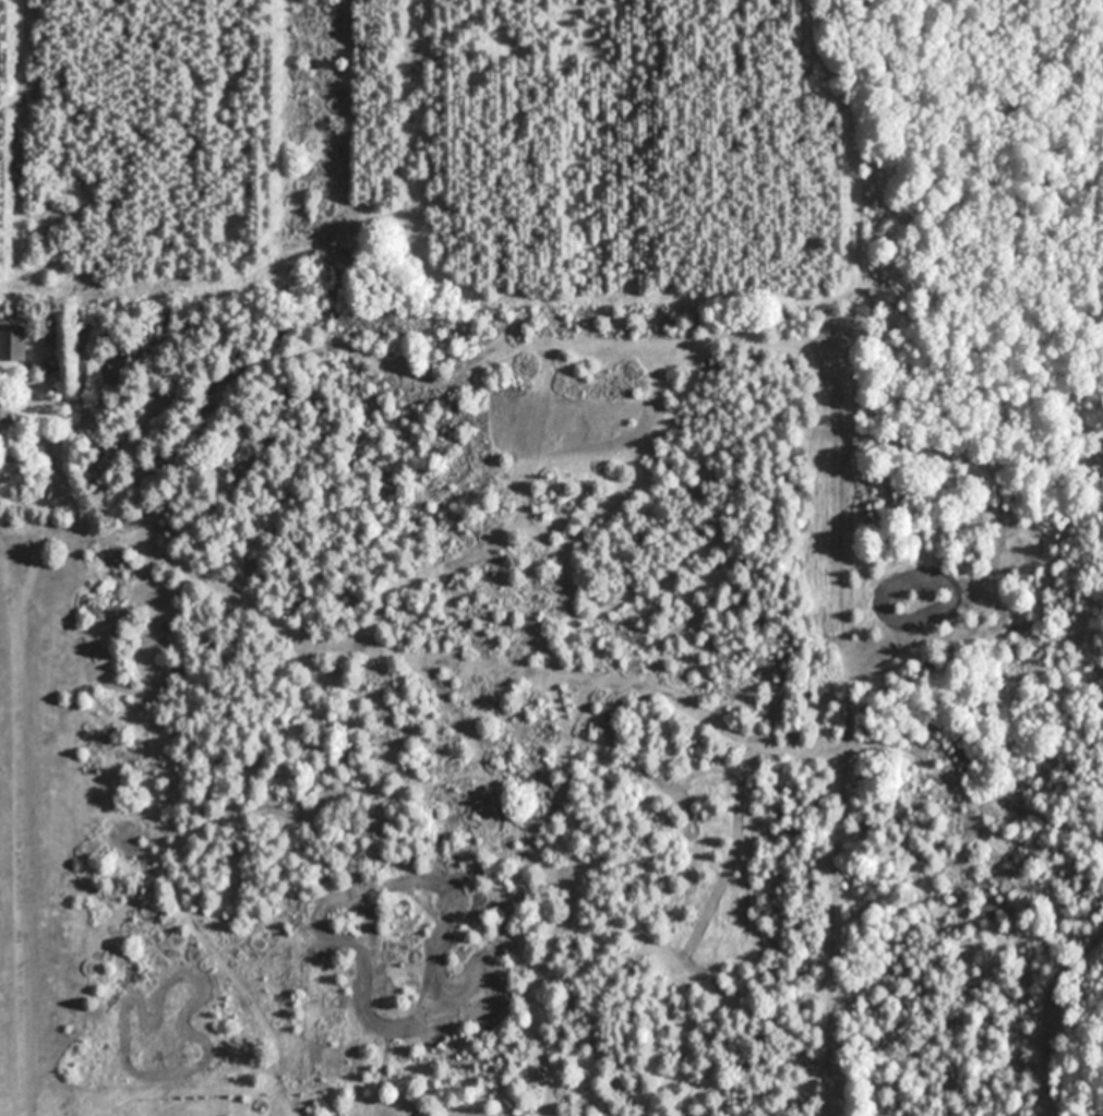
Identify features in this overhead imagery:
building: (12, 343)

